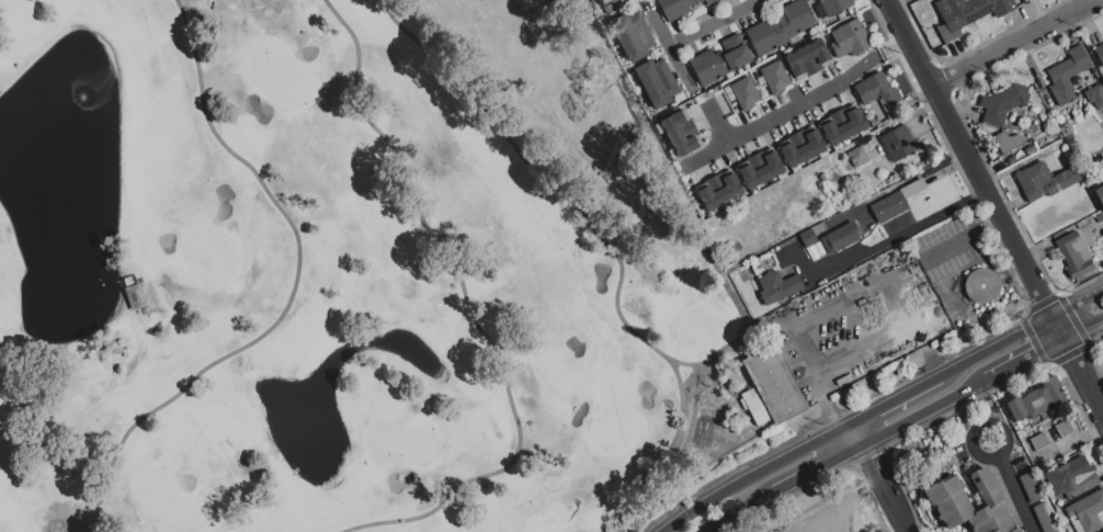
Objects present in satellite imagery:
road: (1091, 1)
building: (604, 2)
building: (834, 5)
building: (676, 8)
building: (967, 13)
road: (725, 18)
building: (781, 27)
building: (632, 36)
building: (849, 39)
road: (1016, 43)
building: (819, 49)
building: (1099, 53)
building: (719, 60)
building: (1067, 73)
building: (775, 77)
road: (832, 78)
building: (656, 82)
building: (744, 93)
building: (879, 93)
building: (1095, 95)
building: (1002, 102)
building: (840, 124)
building: (680, 133)
building: (1068, 137)
building: (869, 140)
building: (1007, 142)
building: (899, 145)
building: (799, 146)
building: (1028, 150)
building: (857, 157)
road: (970, 159)
building: (758, 168)
building: (1044, 181)
building: (716, 190)
building: (1100, 195)
building: (895, 202)
building: (1099, 218)
building: (1083, 224)
road: (900, 231)
building: (839, 238)
building: (811, 246)
building: (1074, 256)
park: (344, 273)
building: (980, 285)
building: (777, 286)
road: (1076, 304)
road: (1081, 327)
road: (1054, 328)
road: (994, 347)
road: (1022, 358)
road: (1082, 374)
building: (770, 387)
road: (897, 400)
building: (1036, 400)
road: (923, 411)
building: (1062, 428)
road: (856, 434)
building: (1038, 442)
road: (1069, 442)
road: (817, 468)
road: (753, 474)
building: (1073, 479)
road: (884, 487)
road: (1010, 487)
building: (1031, 487)
building: (944, 495)
building: (1057, 503)
road: (738, 511)
building: (1085, 512)
park: (840, 514)
building: (1044, 518)
building: (1102, 531)

